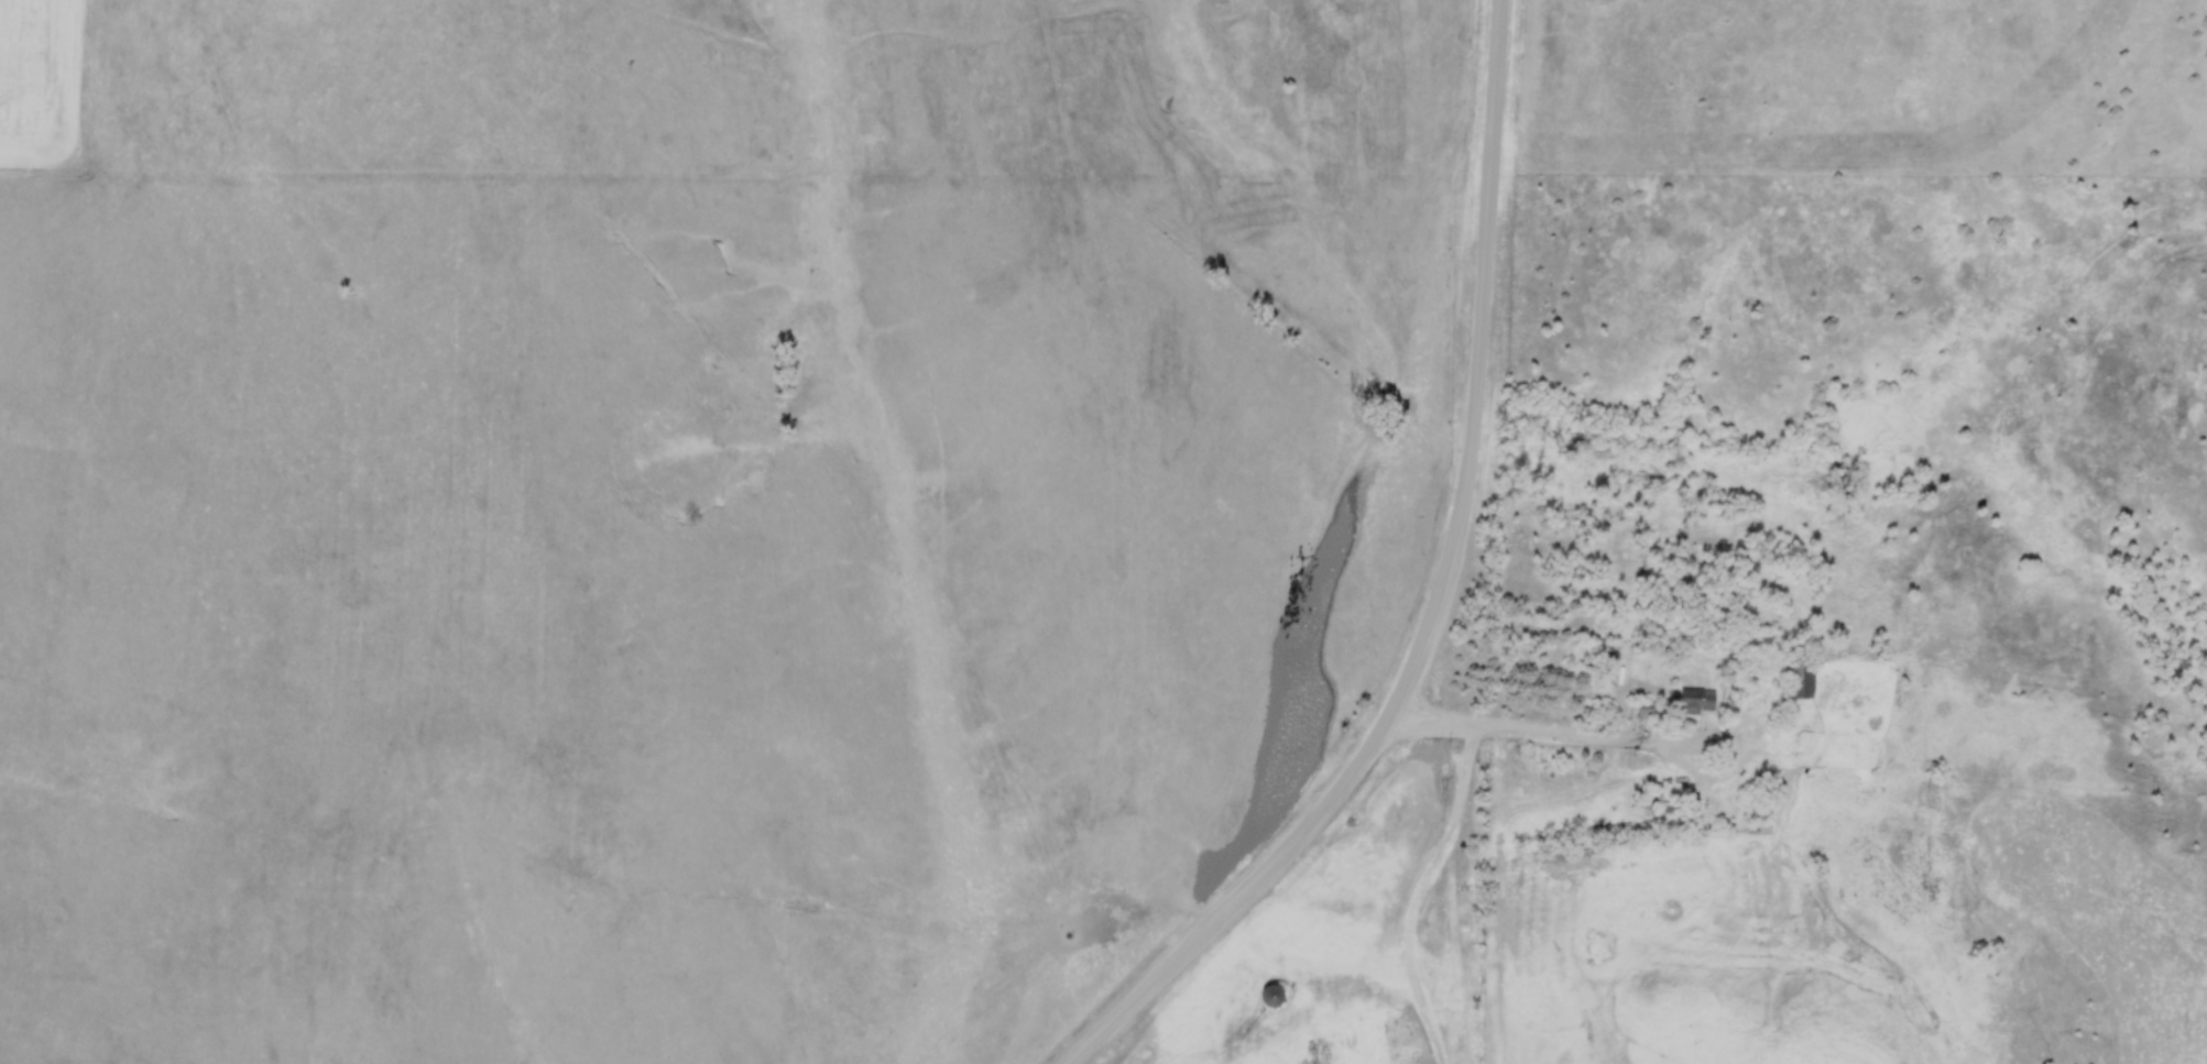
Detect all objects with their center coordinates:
road: (1439, 597)
building: (1805, 683)
building: (1695, 704)
road: (1544, 731)
building: (1844, 779)
building: (1272, 1000)

